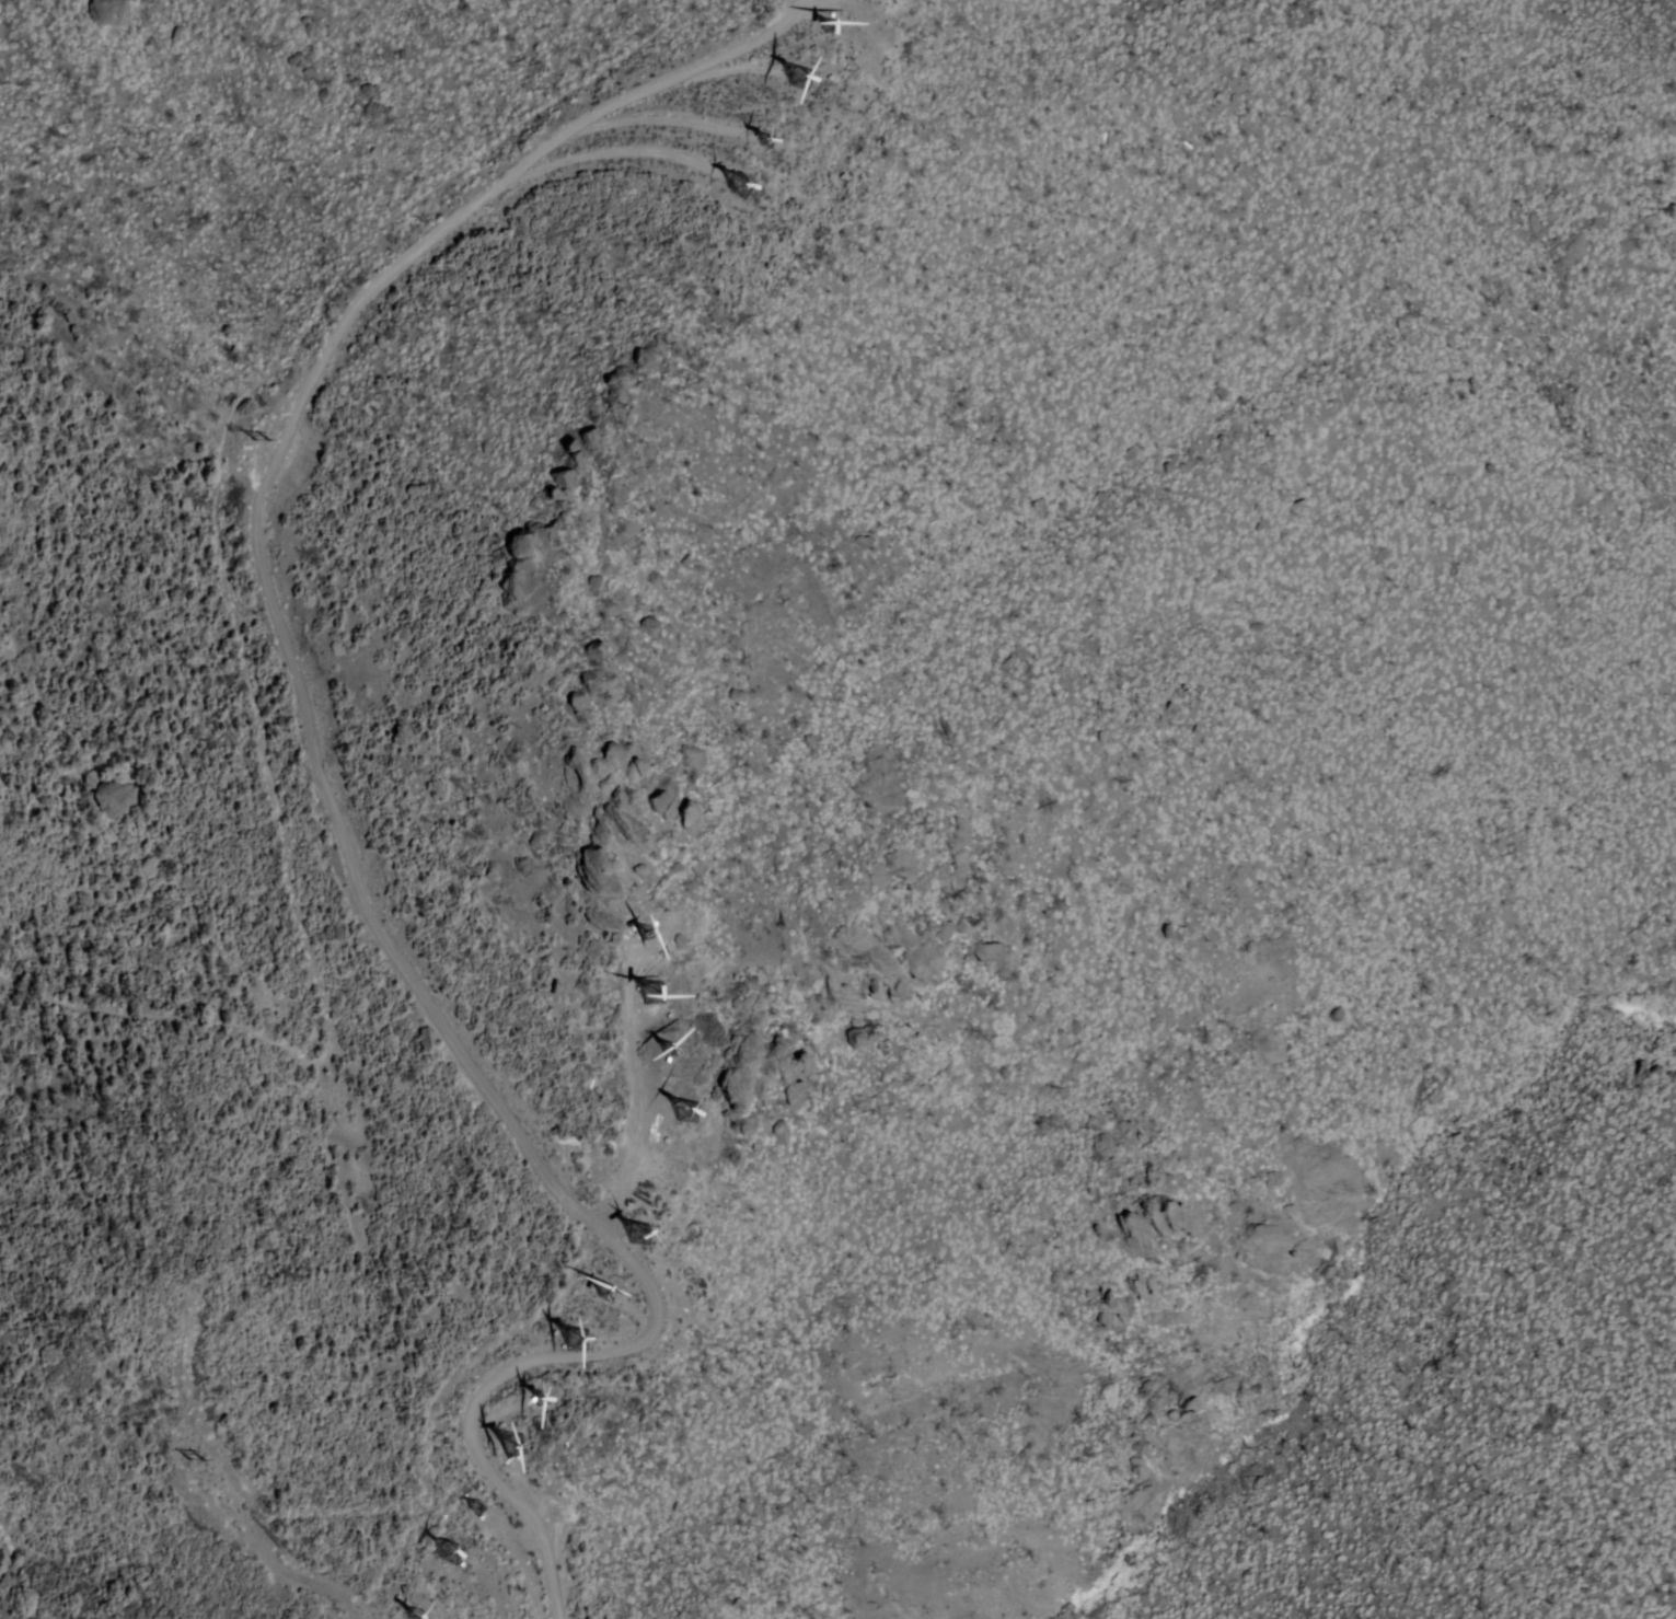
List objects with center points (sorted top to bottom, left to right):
wind turbine: (828, 24)
wind turbine: (796, 73)
wind turbine: (762, 142)
wind turbine: (741, 186)
road: (229, 597)
building: (590, 651)
road: (324, 790)
wind turbine: (643, 934)
wind turbine: (650, 996)
wind turbine: (664, 1053)
wind turbine: (683, 1118)
wind turbine: (669, 1186)
wind turbine: (636, 1231)
wind turbine: (610, 1291)
wind turbine: (567, 1330)
wind turbine: (539, 1392)
wind turbine: (506, 1443)
building: (511, 1445)
wind turbine: (467, 1504)
wind turbine: (444, 1550)
road: (10, 1557)
wind turbine: (407, 1614)

